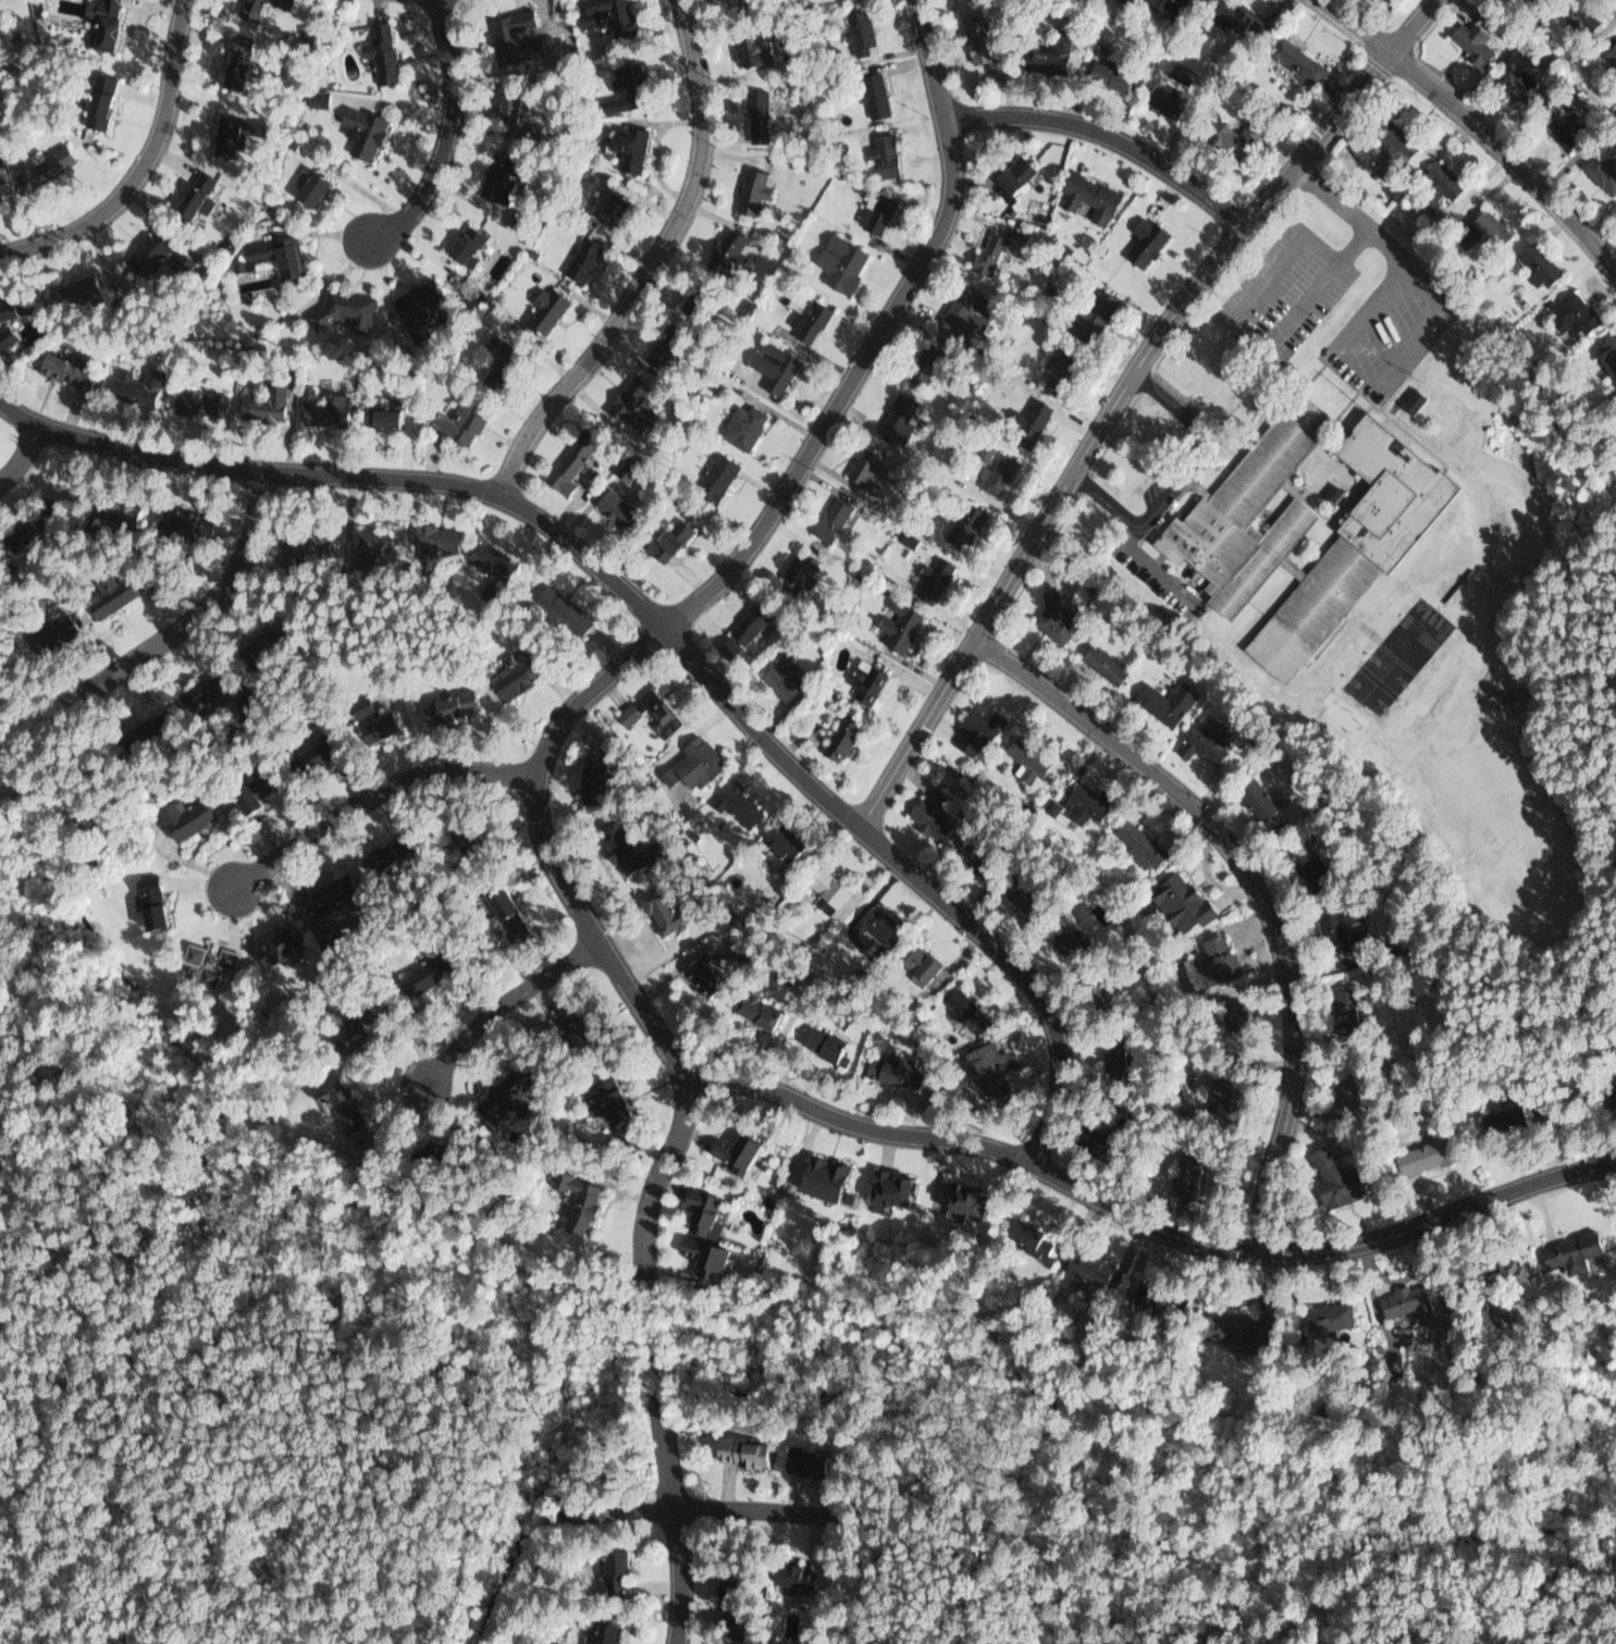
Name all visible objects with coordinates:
building: (732, 1)
building: (1538, 1)
building: (285, 2)
building: (1176, 5)
building: (250, 10)
building: (1588, 10)
building: (605, 15)
building: (1234, 17)
building: (1583, 21)
building: (102, 23)
building: (859, 25)
building: (510, 36)
building: (1478, 36)
building: (751, 44)
building: (982, 45)
building: (379, 49)
building: (1614, 50)
building: (1048, 53)
building: (1296, 58)
building: (236, 63)
building: (1108, 71)
building: (1518, 78)
building: (626, 87)
building: (1177, 92)
building: (874, 94)
building: (317, 96)
building: (100, 97)
building: (508, 101)
building: (760, 111)
building: (1567, 123)
road: (1477, 124)
building: (363, 132)
building: (533, 132)
building: (229, 134)
building: (1399, 134)
road: (1108, 135)
building: (1232, 136)
road: (448, 139)
building: (594, 141)
building: (628, 148)
building: (883, 150)
building: (47, 164)
building: (1604, 165)
road: (144, 168)
building: (1015, 172)
building: (1445, 176)
building: (498, 177)
building: (307, 187)
building: (748, 193)
building: (1085, 193)
building: (194, 195)
building: (1, 197)
building: (604, 209)
building: (616, 210)
building: (879, 213)
building: (1496, 218)
building: (522, 222)
building: (1493, 228)
building: (1143, 238)
building: (467, 245)
building: (987, 249)
building: (271, 251)
building: (153, 254)
building: (725, 255)
building: (579, 258)
building: (1543, 260)
building: (839, 263)
road: (651, 265)
building: (73, 291)
building: (694, 299)
building: (14, 305)
building: (963, 307)
building: (416, 308)
building: (543, 309)
building: (1577, 309)
building: (346, 312)
building: (1088, 312)
building: (810, 323)
building: (5, 336)
road: (1249, 339)
building: (668, 346)
road: (1418, 347)
building: (1609, 350)
building: (925, 362)
building: (503, 366)
building: (770, 366)
building: (69, 369)
building: (1056, 371)
building: (134, 384)
road: (1123, 395)
building: (192, 400)
building: (259, 403)
building: (318, 408)
building: (634, 409)
building: (382, 416)
building: (460, 417)
building: (891, 419)
building: (1026, 422)
building: (739, 425)
road: (24, 459)
building: (862, 466)
building: (567, 467)
building: (626, 469)
road: (1174, 474)
building: (996, 475)
building: (718, 479)
building: (120, 509)
building: (617, 510)
building: (827, 515)
building: (1306, 516)
building: (173, 518)
building: (96, 524)
building: (36, 527)
building: (963, 528)
building: (13, 533)
building: (432, 536)
building: (906, 540)
building: (673, 543)
building: (307, 547)
building: (371, 547)
road: (1140, 556)
building: (488, 559)
building: (797, 573)
building: (932, 577)
building: (108, 593)
building: (1082, 593)
building: (560, 606)
road: (199, 615)
building: (1051, 616)
road: (659, 621)
building: (898, 621)
building: (750, 623)
building: (46, 634)
road: (652, 639)
building: (256, 647)
building: (1098, 664)
building: (508, 673)
building: (784, 678)
building: (866, 679)
building: (196, 689)
building: (449, 700)
building: (1161, 701)
building: (357, 703)
building: (250, 708)
building: (365, 708)
building: (649, 712)
building: (373, 721)
building: (382, 728)
building: (152, 730)
building: (974, 731)
building: (840, 736)
building: (126, 737)
building: (1212, 737)
building: (311, 753)
building: (1027, 757)
building: (690, 766)
building: (588, 786)
building: (247, 791)
building: (1260, 792)
road: (372, 794)
building: (1087, 802)
building: (737, 803)
building: (1047, 806)
building: (924, 811)
building: (182, 820)
building: (464, 825)
building: (1142, 838)
building: (778, 842)
building: (381, 844)
building: (618, 844)
building: (965, 853)
building: (390, 854)
building: (1311, 863)
road: (1256, 887)
building: (821, 889)
building: (1016, 889)
building: (326, 893)
building: (1183, 900)
building: (149, 901)
building: (657, 907)
building: (508, 913)
building: (1341, 918)
building: (1064, 926)
building: (874, 927)
building: (271, 938)
building: (281, 945)
building: (1214, 961)
building: (206, 962)
building: (916, 964)
building: (695, 972)
building: (422, 973)
building: (1103, 977)
road: (502, 1003)
building: (1347, 1003)
building: (960, 1004)
building: (748, 1005)
building: (836, 1013)
building: (1241, 1013)
building: (571, 1024)
building: (351, 1028)
building: (816, 1042)
building: (1114, 1042)
building: (984, 1065)
building: (891, 1071)
building: (1345, 1077)
building: (1614, 1086)
building: (497, 1090)
building: (1229, 1090)
building: (603, 1093)
building: (343, 1107)
building: (1502, 1111)
building: (1099, 1137)
building: (1419, 1147)
building: (731, 1149)
building: (442, 1153)
building: (1334, 1171)
building: (1187, 1174)
building: (822, 1177)
building: (890, 1188)
building: (969, 1196)
building: (571, 1199)
building: (699, 1211)
road: (1144, 1221)
building: (1029, 1226)
building: (1570, 1247)
building: (698, 1256)
building: (1098, 1262)
building: (1169, 1288)
building: (1501, 1290)
building: (1161, 1300)
building: (1401, 1300)
building: (1327, 1311)
building: (1232, 1321)
building: (1394, 1365)
building: (749, 1453)
building: (802, 1460)
road: (687, 1507)
road: (679, 1520)
building: (617, 1566)
building: (789, 1573)
building: (726, 1598)
building: (610, 1629)
building: (726, 1643)

